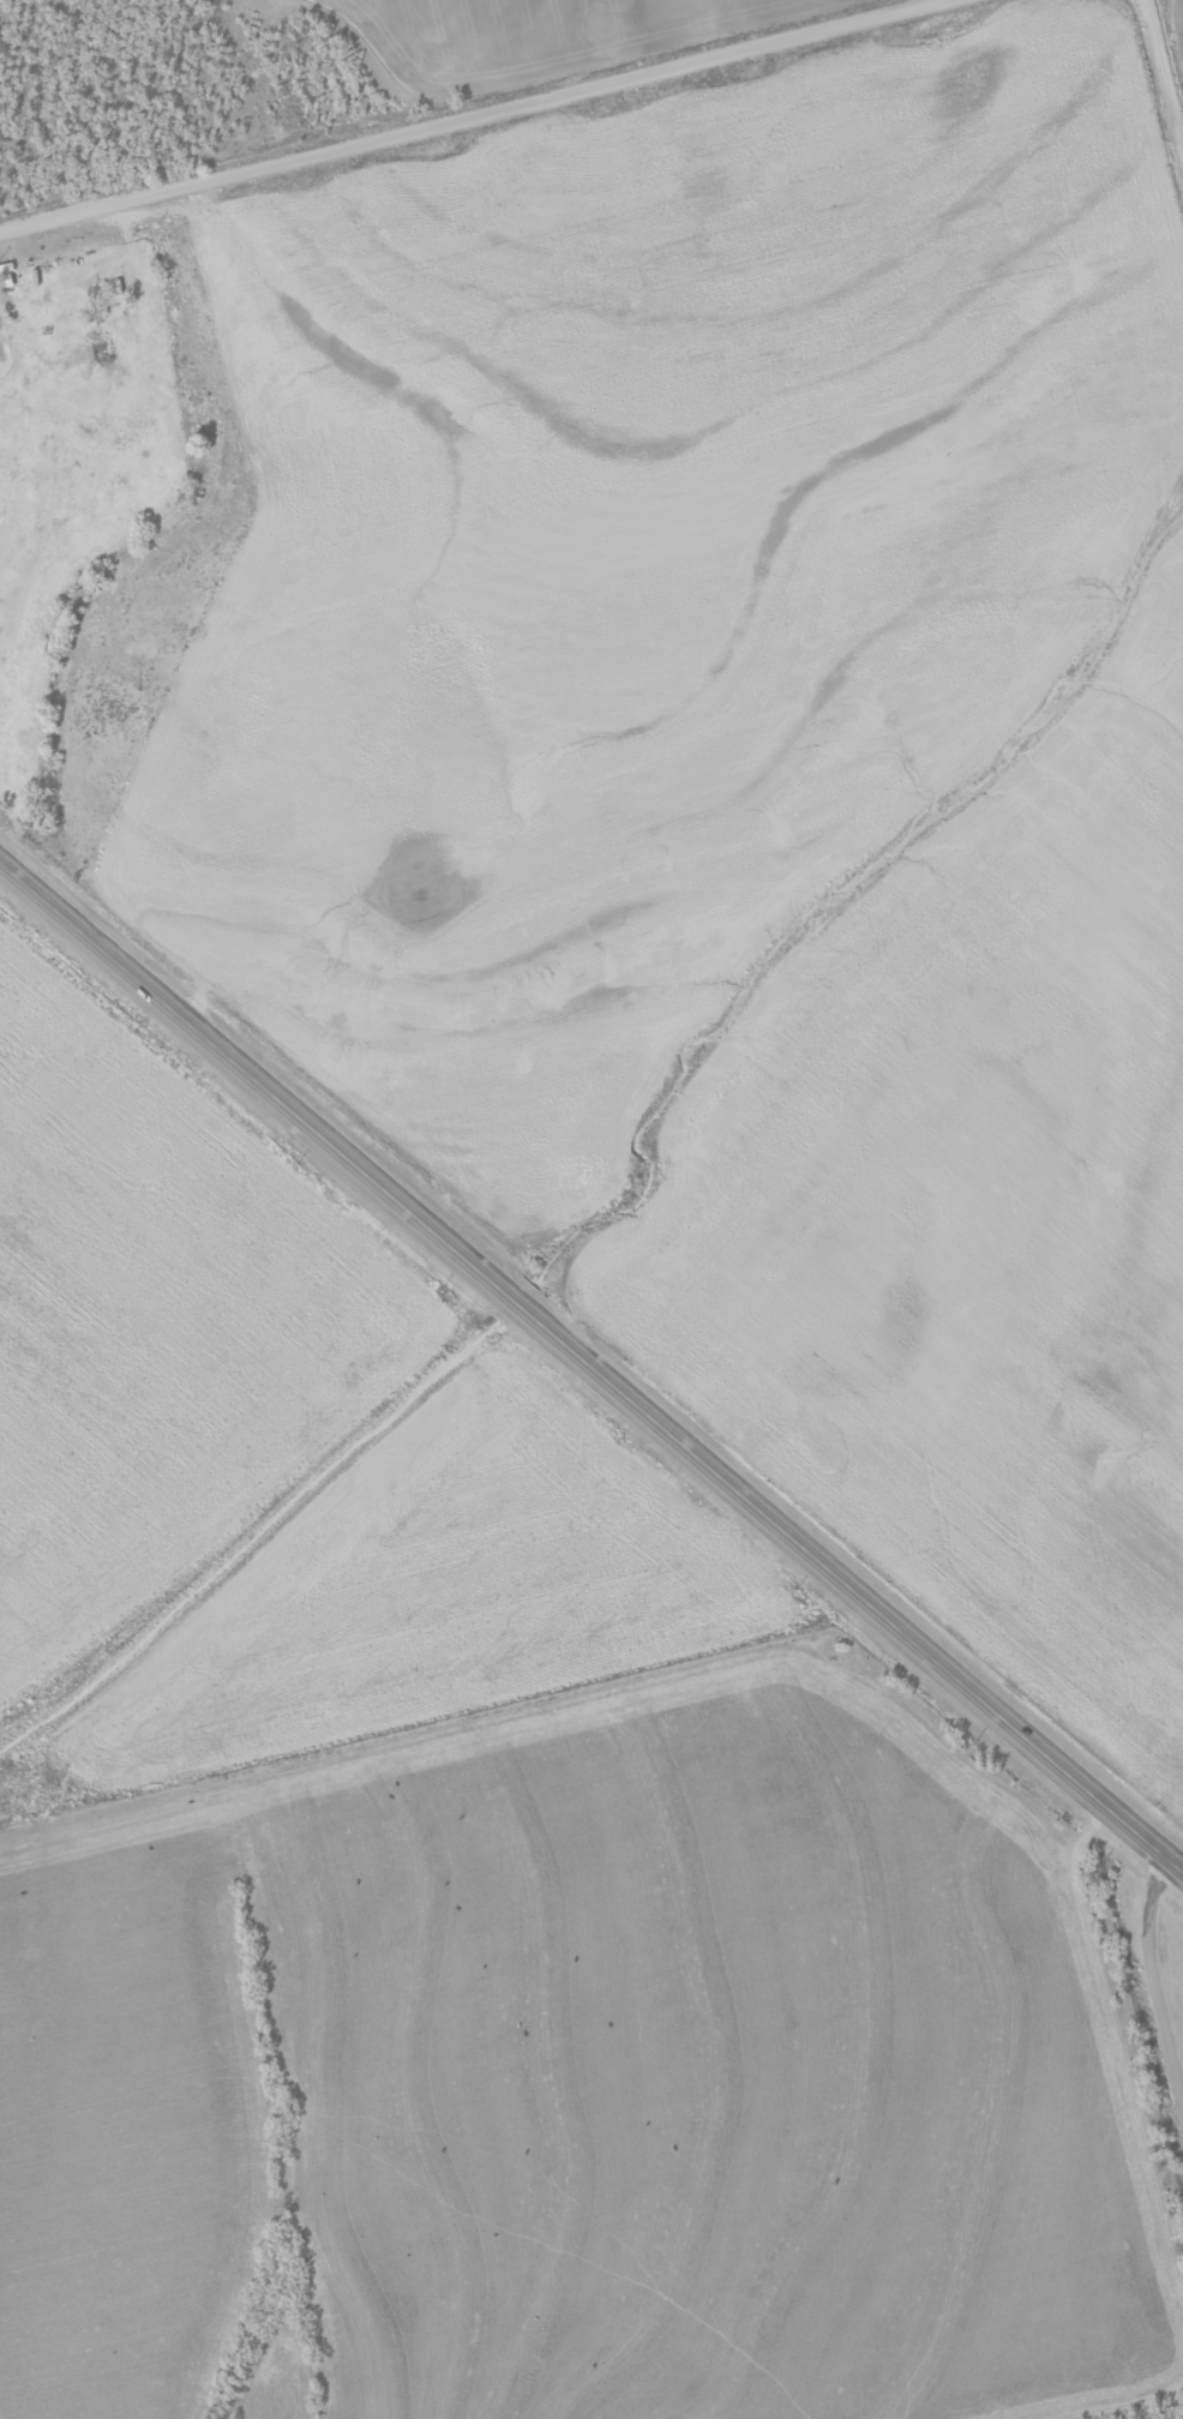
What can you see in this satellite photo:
road: (1165, 72)
road: (468, 114)
building: (6, 281)
road: (591, 1368)
road: (1152, 1983)

